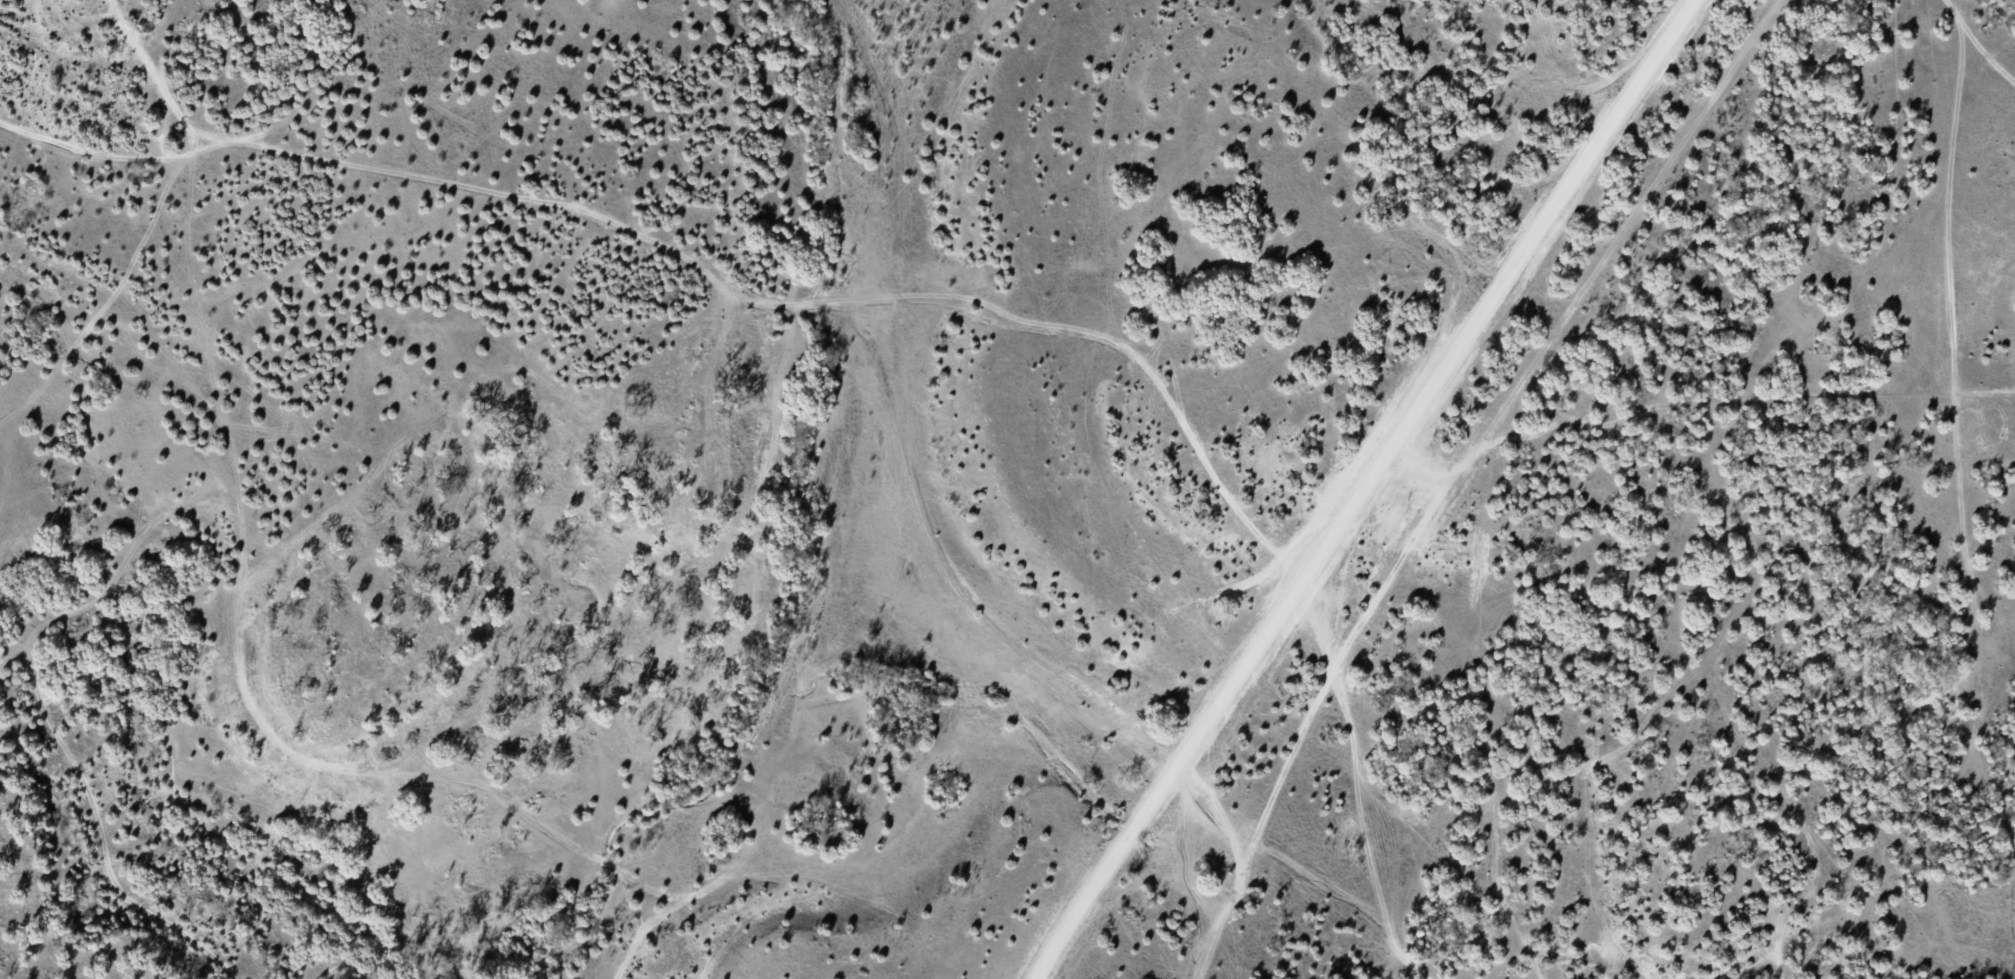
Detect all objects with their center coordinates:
road: (1361, 488)

